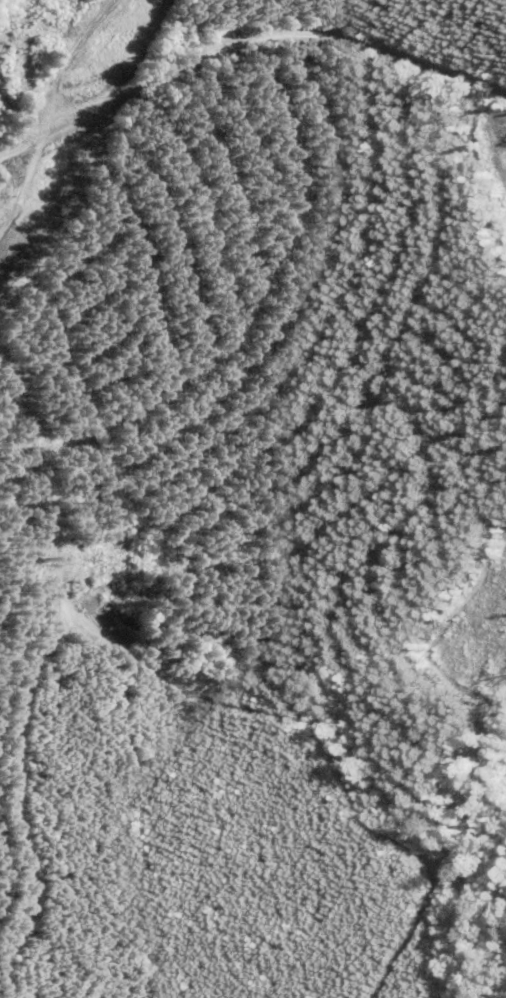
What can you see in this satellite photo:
road: (280, 37)
road: (32, 143)

